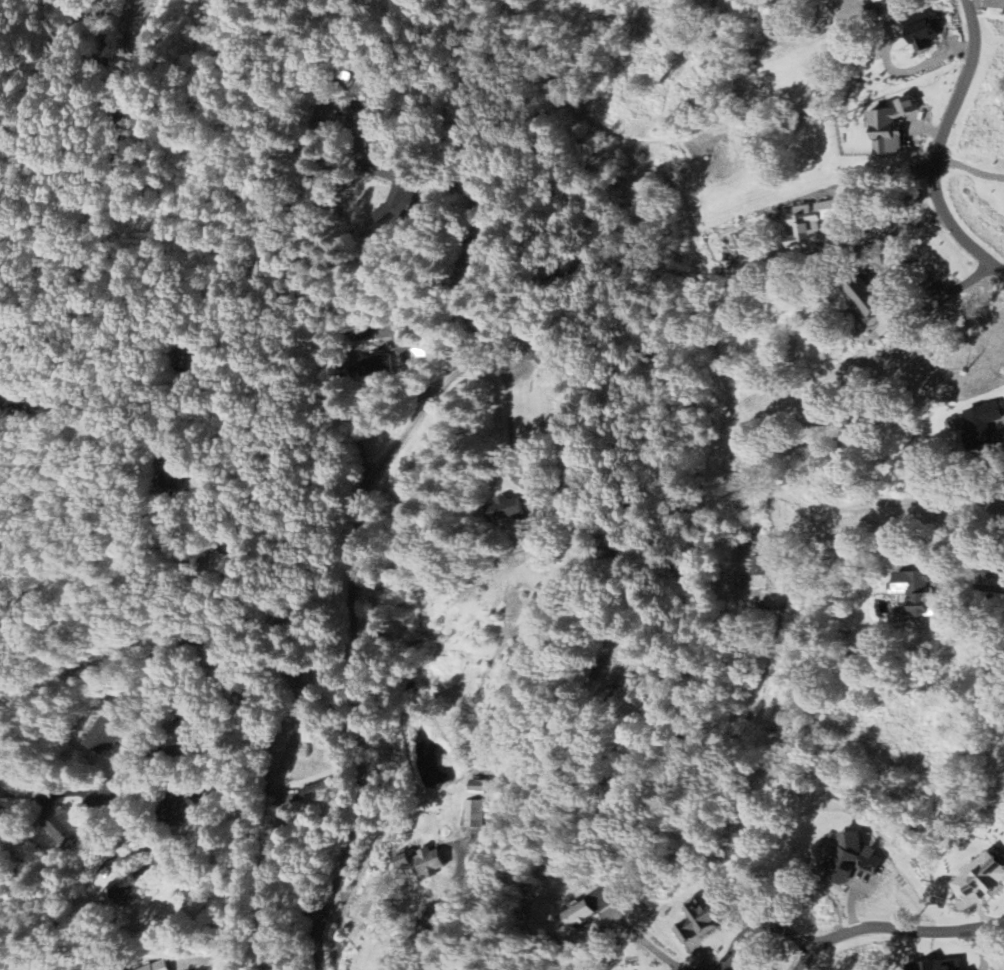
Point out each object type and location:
building: (880, 0)
building: (928, 30)
road: (44, 69)
building: (895, 125)
road: (934, 147)
building: (401, 197)
building: (813, 224)
road: (878, 239)
road: (949, 292)
building: (373, 366)
road: (506, 416)
road: (145, 417)
building: (985, 427)
building: (510, 508)
road: (115, 509)
road: (974, 585)
building: (917, 592)
road: (353, 606)
road: (248, 627)
road: (146, 710)
building: (109, 734)
building: (481, 788)
building: (182, 804)
building: (475, 813)
building: (67, 826)
building: (859, 850)
building: (425, 862)
building: (984, 876)
building: (127, 887)
building: (591, 912)
road: (428, 916)
building: (706, 919)
road: (849, 929)
road: (650, 945)
road: (810, 956)
building: (944, 965)
building: (159, 966)
road: (718, 968)
road: (726, 968)

